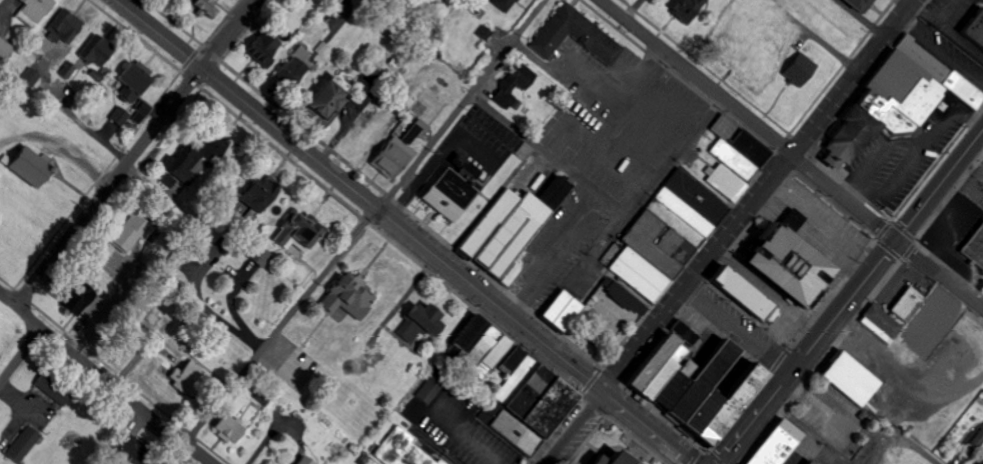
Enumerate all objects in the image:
road: (907, 2)
building: (503, 5)
building: (856, 5)
building: (205, 7)
building: (682, 8)
building: (35, 10)
building: (63, 27)
building: (975, 28)
road: (227, 34)
building: (575, 36)
building: (760, 42)
building: (262, 49)
building: (5, 52)
building: (95, 52)
building: (293, 66)
building: (796, 69)
building: (31, 77)
building: (131, 79)
building: (512, 86)
building: (894, 98)
building: (325, 102)
road: (461, 105)
building: (120, 117)
road: (746, 120)
building: (740, 139)
road: (535, 144)
building: (359, 147)
building: (391, 157)
building: (733, 159)
building: (188, 161)
building: (25, 165)
road: (666, 167)
building: (723, 183)
road: (106, 187)
building: (251, 193)
building: (448, 194)
building: (694, 195)
road: (758, 195)
building: (678, 216)
building: (510, 225)
building: (294, 232)
road: (403, 232)
building: (129, 234)
building: (656, 243)
building: (975, 247)
road: (554, 256)
building: (257, 257)
building: (788, 264)
building: (638, 273)
road: (939, 277)
building: (741, 291)
road: (850, 297)
building: (75, 299)
building: (343, 299)
building: (907, 304)
building: (617, 308)
building: (561, 309)
building: (417, 320)
building: (880, 323)
park: (9, 335)
road: (276, 337)
road: (21, 354)
road: (773, 356)
building: (653, 361)
building: (657, 378)
road: (105, 379)
building: (850, 379)
building: (188, 380)
building: (702, 381)
building: (429, 390)
building: (669, 390)
building: (527, 403)
building: (731, 405)
building: (702, 411)
road: (572, 427)
building: (227, 428)
building: (27, 444)
building: (776, 444)
building: (125, 446)
building: (401, 450)
building: (902, 456)
building: (612, 459)
building: (299, 460)
building: (810, 462)
building: (803, 463)

